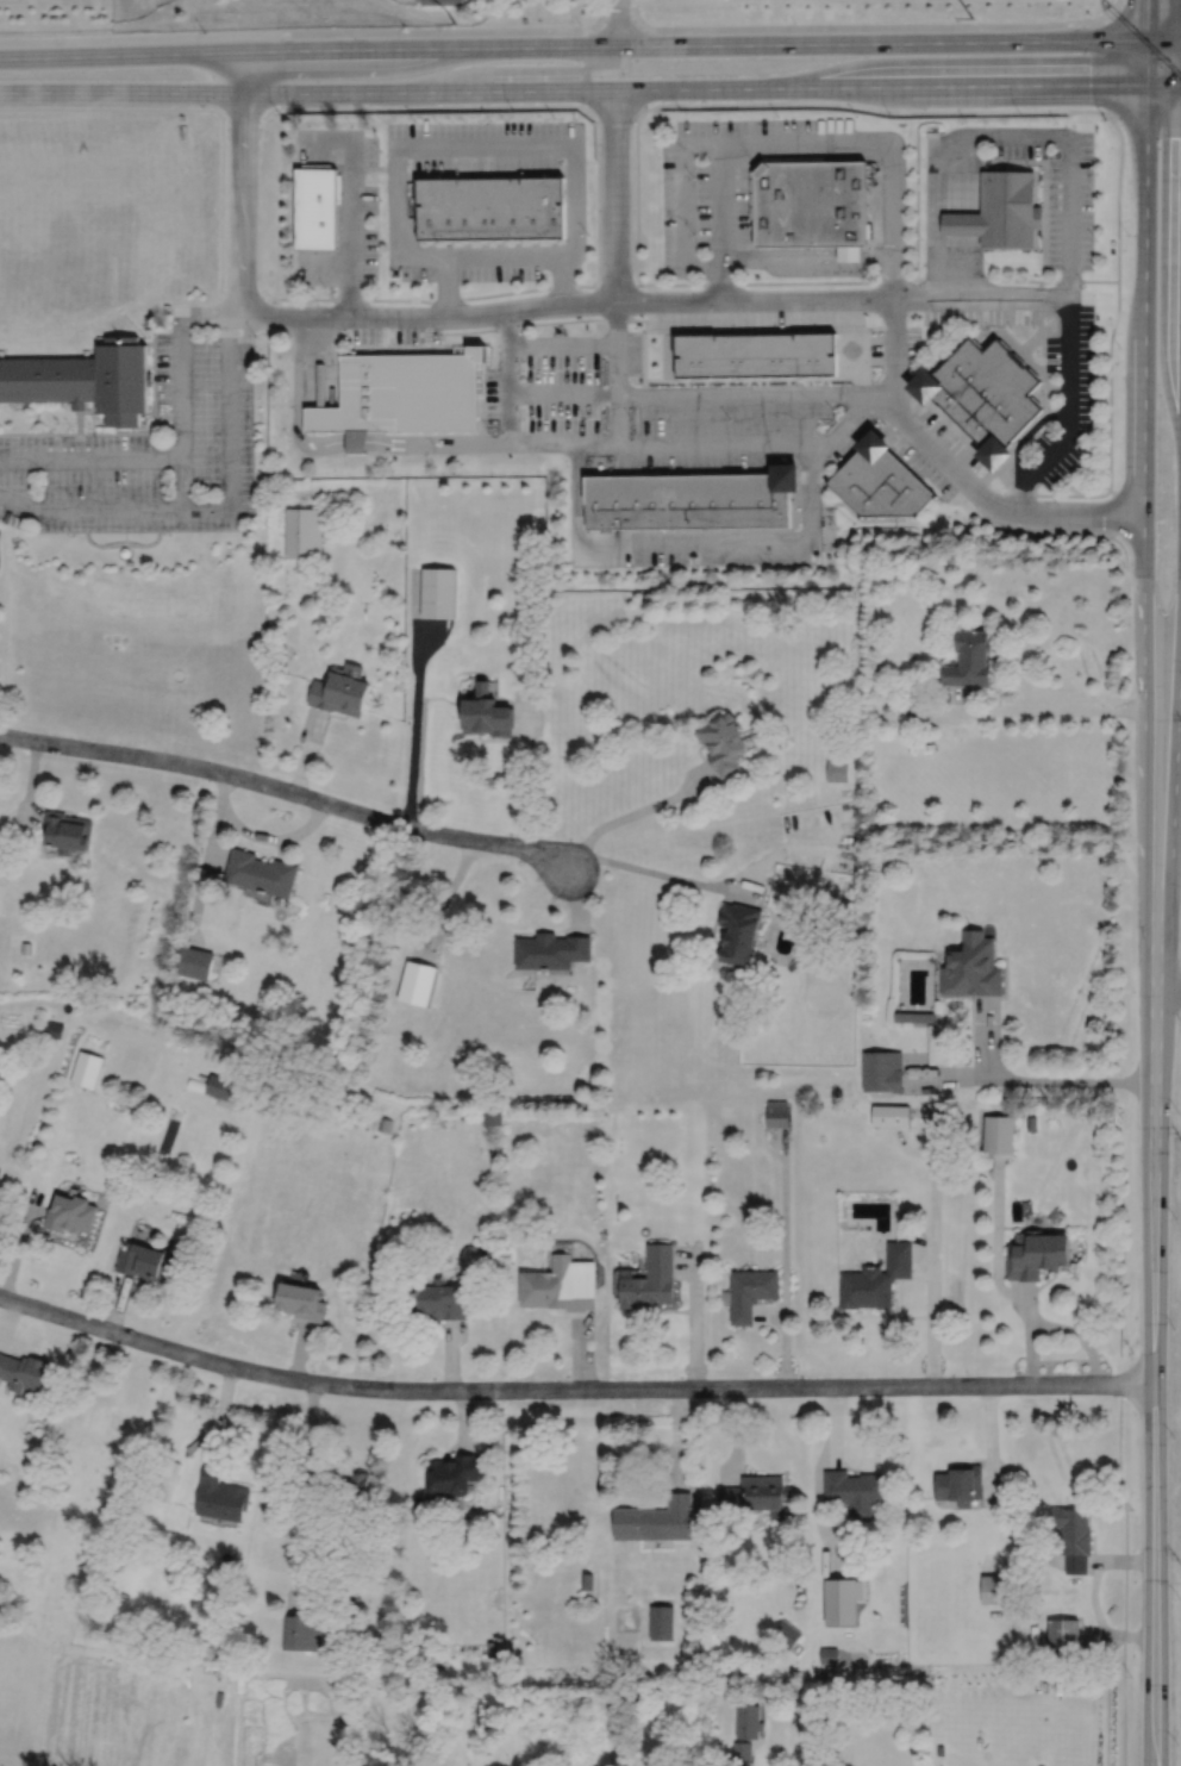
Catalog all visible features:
building: (442, 2)
road: (1116, 4)
road: (1146, 8)
street lamp: (957, 20)
road: (1149, 21)
street lamp: (794, 23)
road: (619, 24)
street lamp: (580, 25)
street lamp: (404, 27)
road: (868, 27)
street lamp: (204, 31)
road: (308, 33)
road: (1164, 42)
traffic signals: (1149, 43)
road: (574, 46)
road: (1112, 61)
road: (1148, 63)
road: (515, 70)
traffic signals: (1148, 85)
road: (1164, 85)
road: (881, 87)
road: (307, 92)
road: (432, 106)
road: (105, 108)
street lamp: (680, 108)
road: (873, 110)
road: (215, 112)
street lamp: (1020, 113)
road: (1145, 113)
road: (617, 116)
street lamp: (891, 116)
street lamp: (779, 117)
street lamp: (856, 117)
street lamp: (414, 119)
street lamp: (490, 119)
street lamp: (555, 119)
street lamp: (966, 123)
street lamp: (1057, 123)
street lamp: (1106, 123)
street lamp: (308, 125)
street lamp: (351, 126)
road: (955, 136)
road: (768, 142)
parking lot: (485, 144)
road: (529, 146)
street lamp: (658, 146)
street lamp: (381, 150)
street lamp: (923, 158)
street lamp: (410, 168)
street lamp: (562, 168)
road: (1070, 169)
street lamp: (1098, 174)
road: (240, 183)
parking lot: (729, 183)
parking lot: (1058, 185)
road: (1118, 194)
road: (616, 195)
street lamp: (380, 199)
road: (637, 199)
road: (220, 200)
road: (917, 201)
road: (351, 202)
road: (720, 204)
building: (808, 204)
parking lot: (344, 206)
building: (490, 207)
building: (317, 208)
building: (1008, 211)
road: (971, 214)
road: (962, 216)
road: (952, 218)
road: (942, 223)
building: (961, 225)
street lamp: (1127, 232)
street lamp: (588, 235)
street lamp: (921, 238)
street lamp: (1096, 241)
building: (846, 250)
road: (807, 251)
street lamp: (381, 255)
road: (807, 260)
street lamp: (986, 261)
parking lot: (501, 263)
street lamp: (863, 275)
street lamp: (675, 277)
road: (561, 280)
road: (895, 281)
road: (691, 282)
road: (720, 282)
street lamp: (523, 283)
street lamp: (1085, 283)
street lamp: (431, 285)
road: (448, 287)
street lamp: (325, 288)
street lamp: (365, 288)
road: (982, 297)
road: (756, 299)
parking lot: (979, 314)
parking lot: (756, 317)
road: (225, 318)
road: (443, 318)
street lamp: (931, 325)
street lamp: (987, 325)
street lamp: (1008, 325)
street lamp: (1033, 325)
street lamp: (817, 326)
street lamp: (963, 326)
street lamp: (775, 327)
street lamp: (695, 329)
street lamp: (735, 329)
street lamp: (873, 329)
street lamp: (644, 330)
street lamp: (1095, 330)
street lamp: (524, 333)
street lamp: (289, 337)
street lamp: (350, 337)
street lamp: (923, 339)
street lamp: (446, 342)
parking lot: (912, 342)
road: (563, 343)
street lamp: (1119, 344)
parking lot: (876, 348)
building: (754, 351)
street lamp: (1038, 352)
street lamp: (583, 368)
street lamp: (524, 370)
road: (617, 372)
building: (86, 377)
street lamp: (290, 388)
road: (696, 391)
street lamp: (1043, 391)
building: (401, 392)
parking lot: (1068, 392)
building: (982, 393)
street lamp: (1095, 401)
road: (296, 403)
parking lot: (658, 407)
street lamp: (833, 411)
road: (1069, 413)
street lamp: (585, 417)
street lamp: (631, 417)
street lamp: (729, 417)
street lamp: (524, 419)
street lamp: (1048, 425)
road: (1024, 433)
street lamp: (288, 437)
building: (355, 441)
road: (355, 441)
road: (649, 442)
road: (437, 443)
road: (1110, 443)
street lamp: (1026, 447)
parking lot: (148, 453)
road: (161, 458)
street lamp: (831, 460)
street lamp: (568, 463)
road: (957, 472)
street lamp: (1067, 474)
building: (879, 478)
road: (182, 482)
building: (689, 497)
road: (210, 505)
road: (1114, 510)
road: (986, 518)
street lamp: (837, 526)
building: (302, 530)
road: (1143, 537)
road: (692, 538)
road: (125, 539)
road: (123, 543)
parking lot: (695, 545)
road: (1125, 549)
building: (125, 551)
street lamp: (1129, 563)
street lamp: (698, 566)
building: (438, 593)
road: (430, 645)
building: (969, 659)
building: (340, 688)
road: (418, 697)
road: (1039, 709)
building: (918, 713)
building: (486, 714)
building: (721, 742)
road: (306, 749)
road: (526, 768)
building: (837, 769)
road: (286, 788)
road: (29, 790)
road: (632, 812)
building: (67, 832)
road: (1170, 832)
road: (258, 835)
road: (204, 869)
building: (260, 870)
road: (682, 878)
road: (443, 896)
road: (579, 897)
building: (738, 931)
building: (26, 948)
building: (550, 949)
building: (193, 960)
building: (971, 965)
building: (415, 980)
road: (1168, 991)
building: (913, 1016)
building: (54, 1028)
road: (987, 1035)
building: (87, 1067)
building: (882, 1069)
road: (1031, 1080)
building: (223, 1086)
building: (776, 1112)
street lamp: (1179, 1112)
building: (889, 1115)
building: (490, 1116)
building: (1031, 1122)
building: (385, 1123)
building: (999, 1131)
road: (908, 1148)
building: (0, 1179)
building: (71, 1212)
building: (1055, 1215)
street lamp: (1176, 1219)
road: (996, 1238)
road: (19, 1244)
road: (933, 1246)
building: (1037, 1253)
road: (785, 1255)
building: (145, 1261)
building: (876, 1278)
building: (649, 1279)
building: (561, 1284)
building: (749, 1292)
building: (438, 1299)
road: (114, 1300)
building: (301, 1300)
road: (694, 1312)
road: (10, 1325)
street lamp: (1174, 1328)
road: (1030, 1333)
road: (1079, 1335)
road: (299, 1349)
road: (582, 1350)
road: (451, 1356)
building: (24, 1372)
road: (1156, 1378)
road: (571, 1389)
road: (221, 1410)
road: (464, 1419)
road: (737, 1435)
road: (681, 1439)
street lamp: (1174, 1439)
road: (991, 1440)
road: (1029, 1448)
building: (452, 1474)
building: (164, 1479)
road: (631, 1479)
road: (817, 1479)
building: (348, 1484)
building: (960, 1484)
building: (855, 1490)
building: (219, 1494)
building: (755, 1494)
road: (302, 1496)
building: (655, 1519)
building: (1073, 1537)
road: (1123, 1560)
road: (1125, 1574)
building: (586, 1581)
building: (996, 1589)
road: (1093, 1598)
street lamp: (1173, 1599)
building: (841, 1600)
building: (660, 1622)
building: (295, 1633)
building: (785, 1634)
road: (1118, 1634)
building: (1062, 1636)
building: (829, 1655)
building: (770, 1704)
building: (748, 1722)
road: (770, 1741)
street lamp: (1173, 1748)
building: (941, 1749)
building: (742, 1753)

